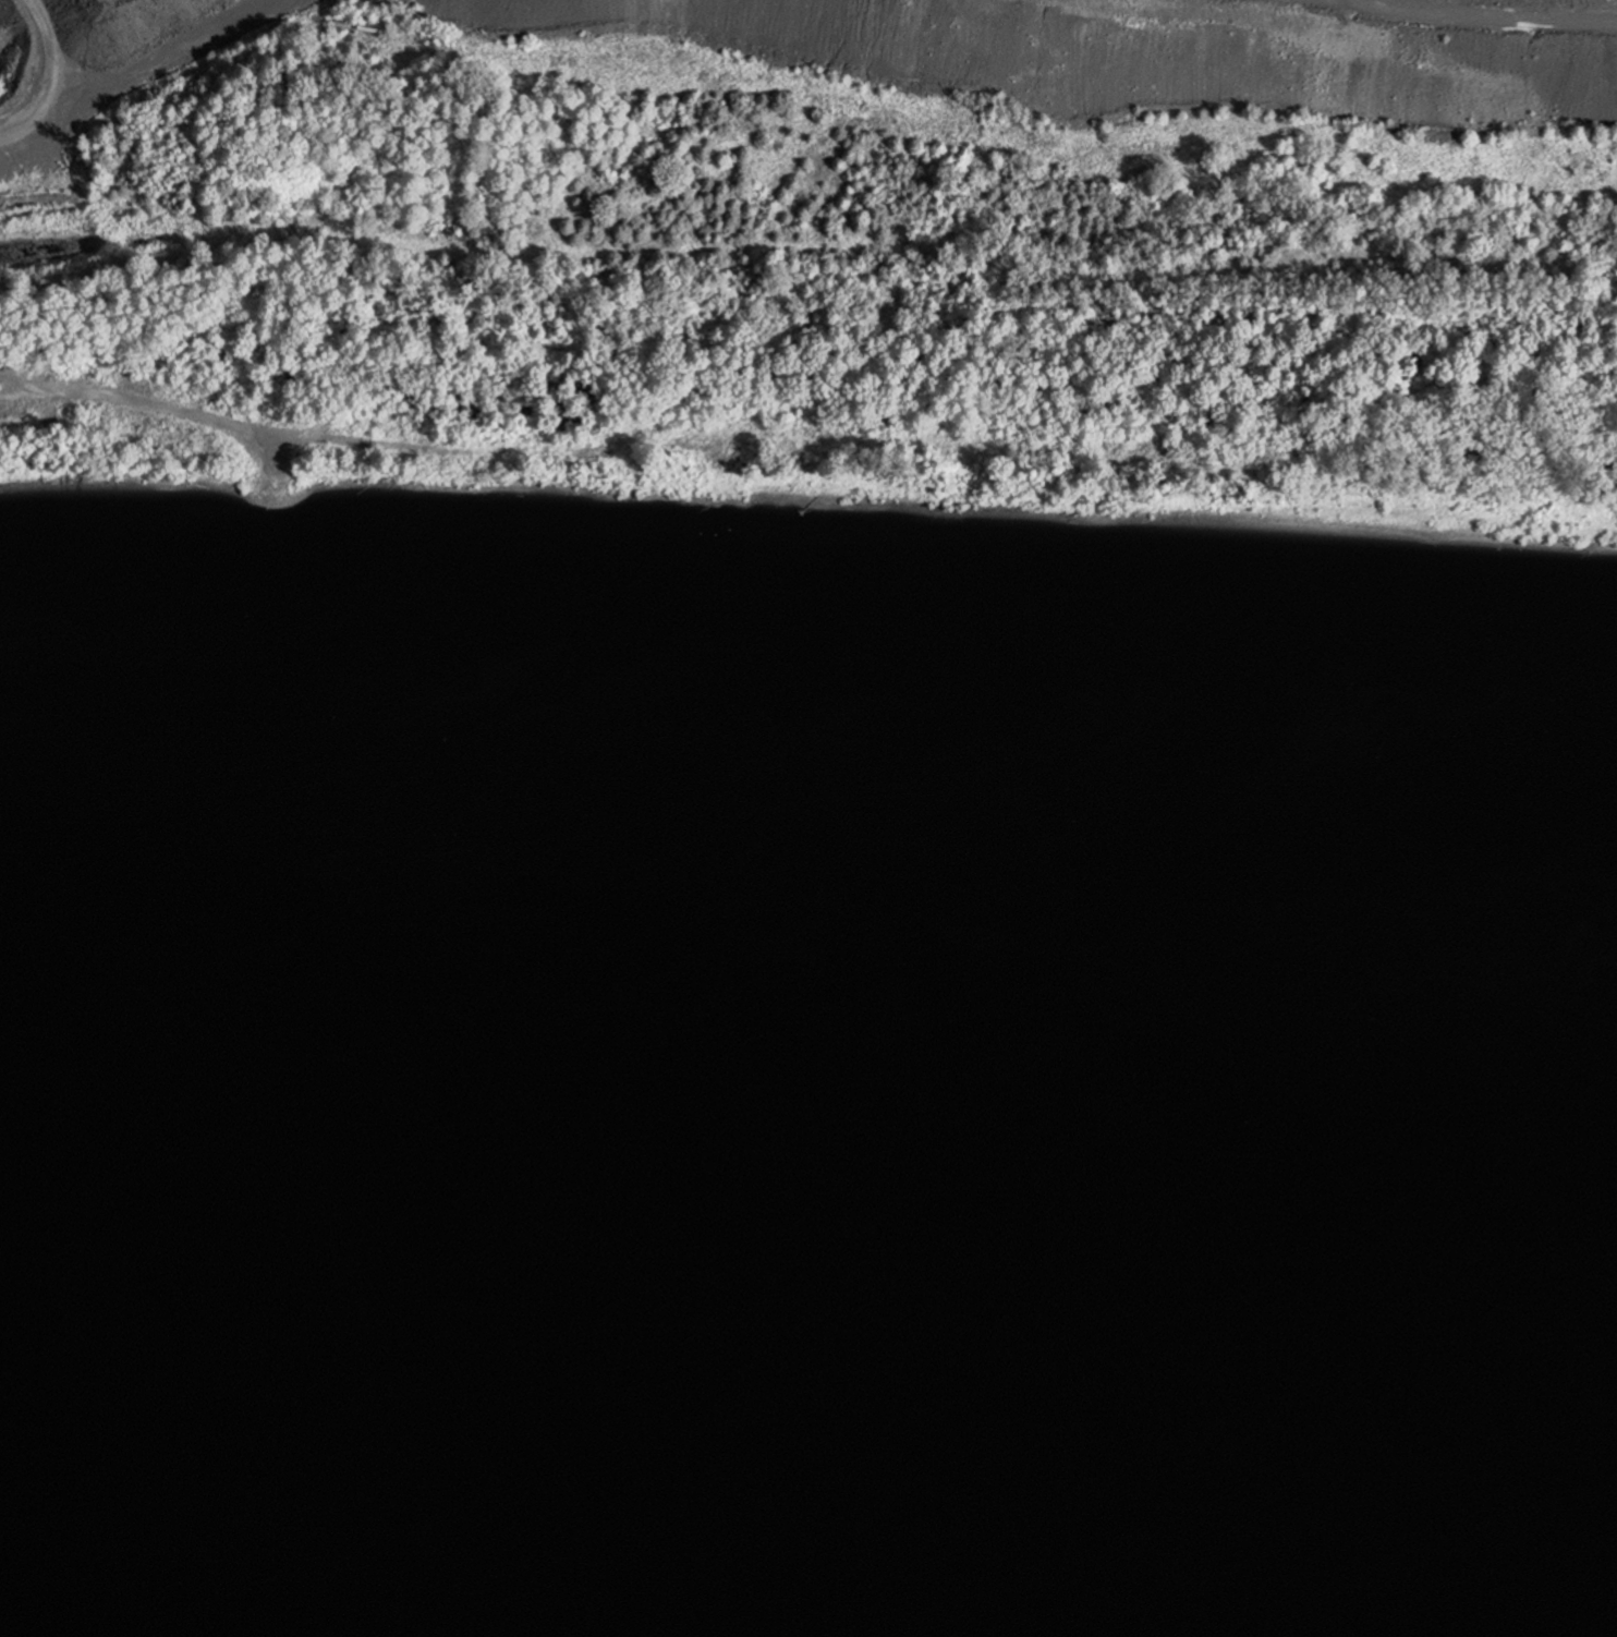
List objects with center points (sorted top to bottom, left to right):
road: (1567, 0)
quarry: (892, 65)
road: (106, 81)
road: (26, 130)
quarry: (80, 368)
river: (811, 1541)

